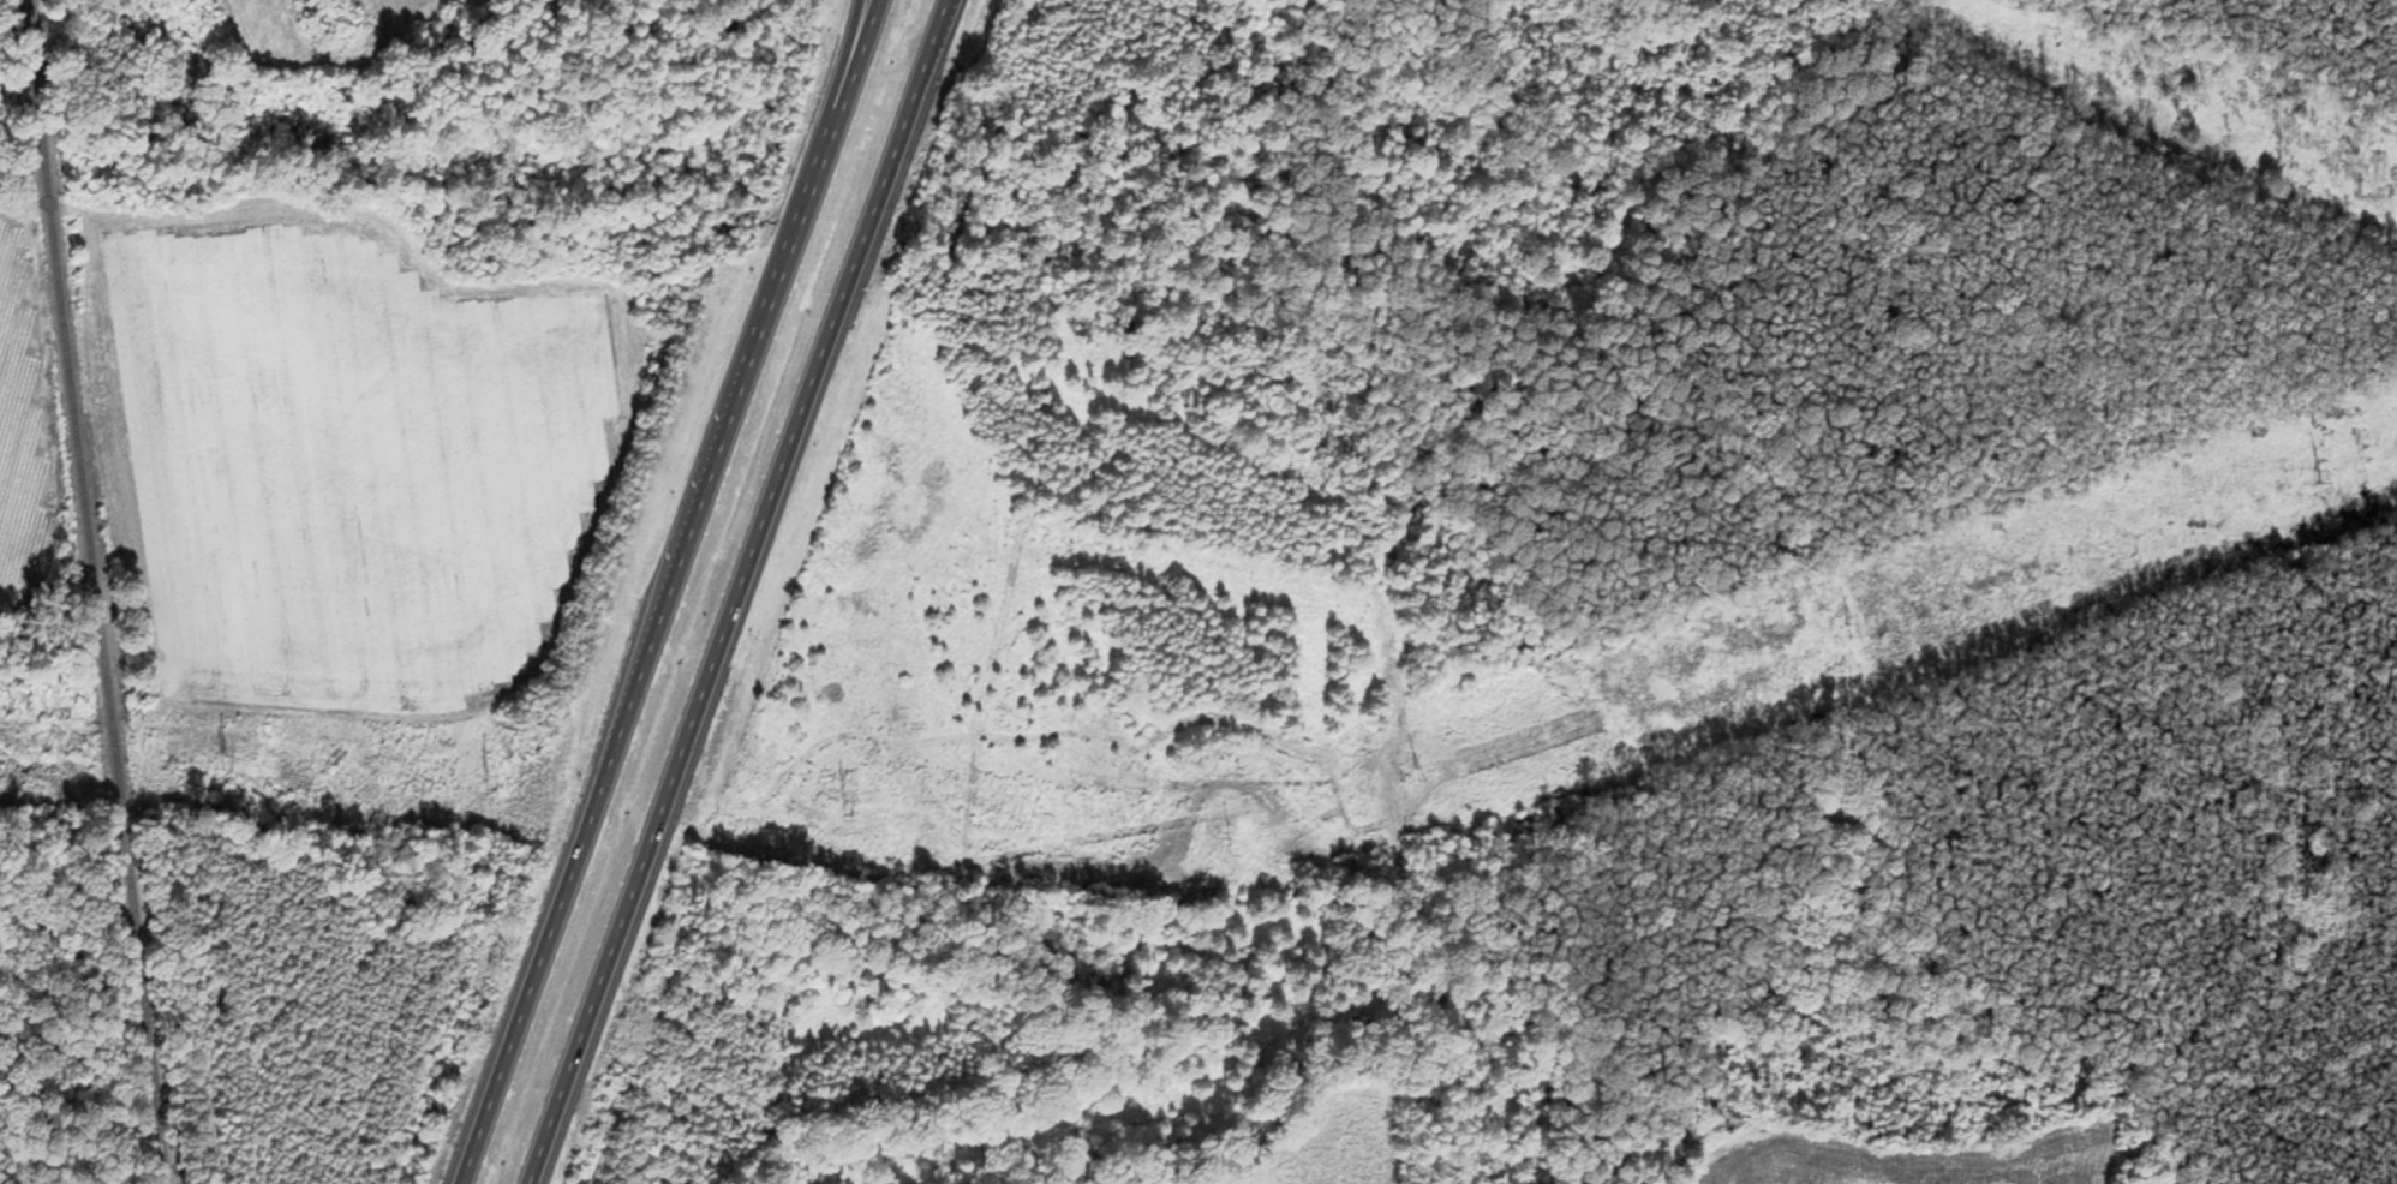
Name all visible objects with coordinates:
road: (856, 32)
road: (865, 32)
road: (832, 307)
power tower: (2324, 479)
railway: (95, 592)
road: (653, 624)
power tower: (1845, 633)
power tower: (214, 753)
power tower: (483, 773)
power tower: (841, 806)
power tower: (1226, 841)
road: (626, 902)

